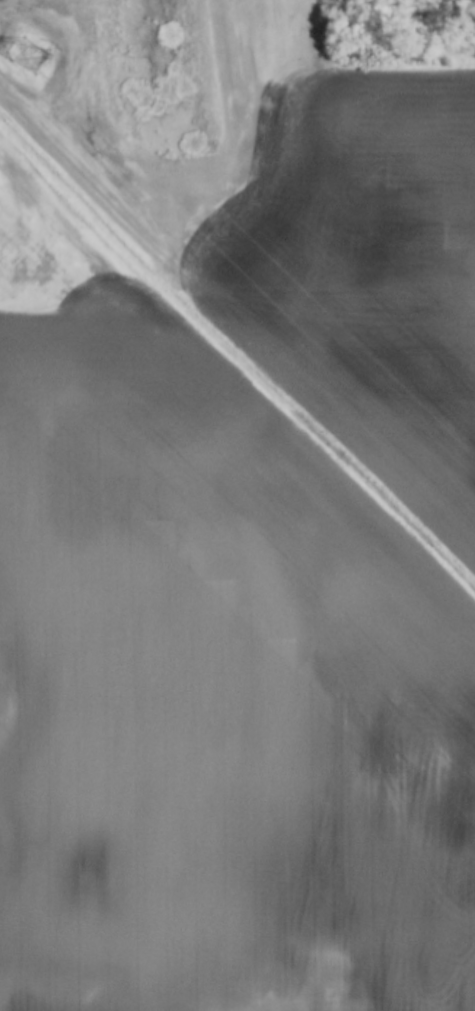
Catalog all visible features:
power tower: (23, 52)

